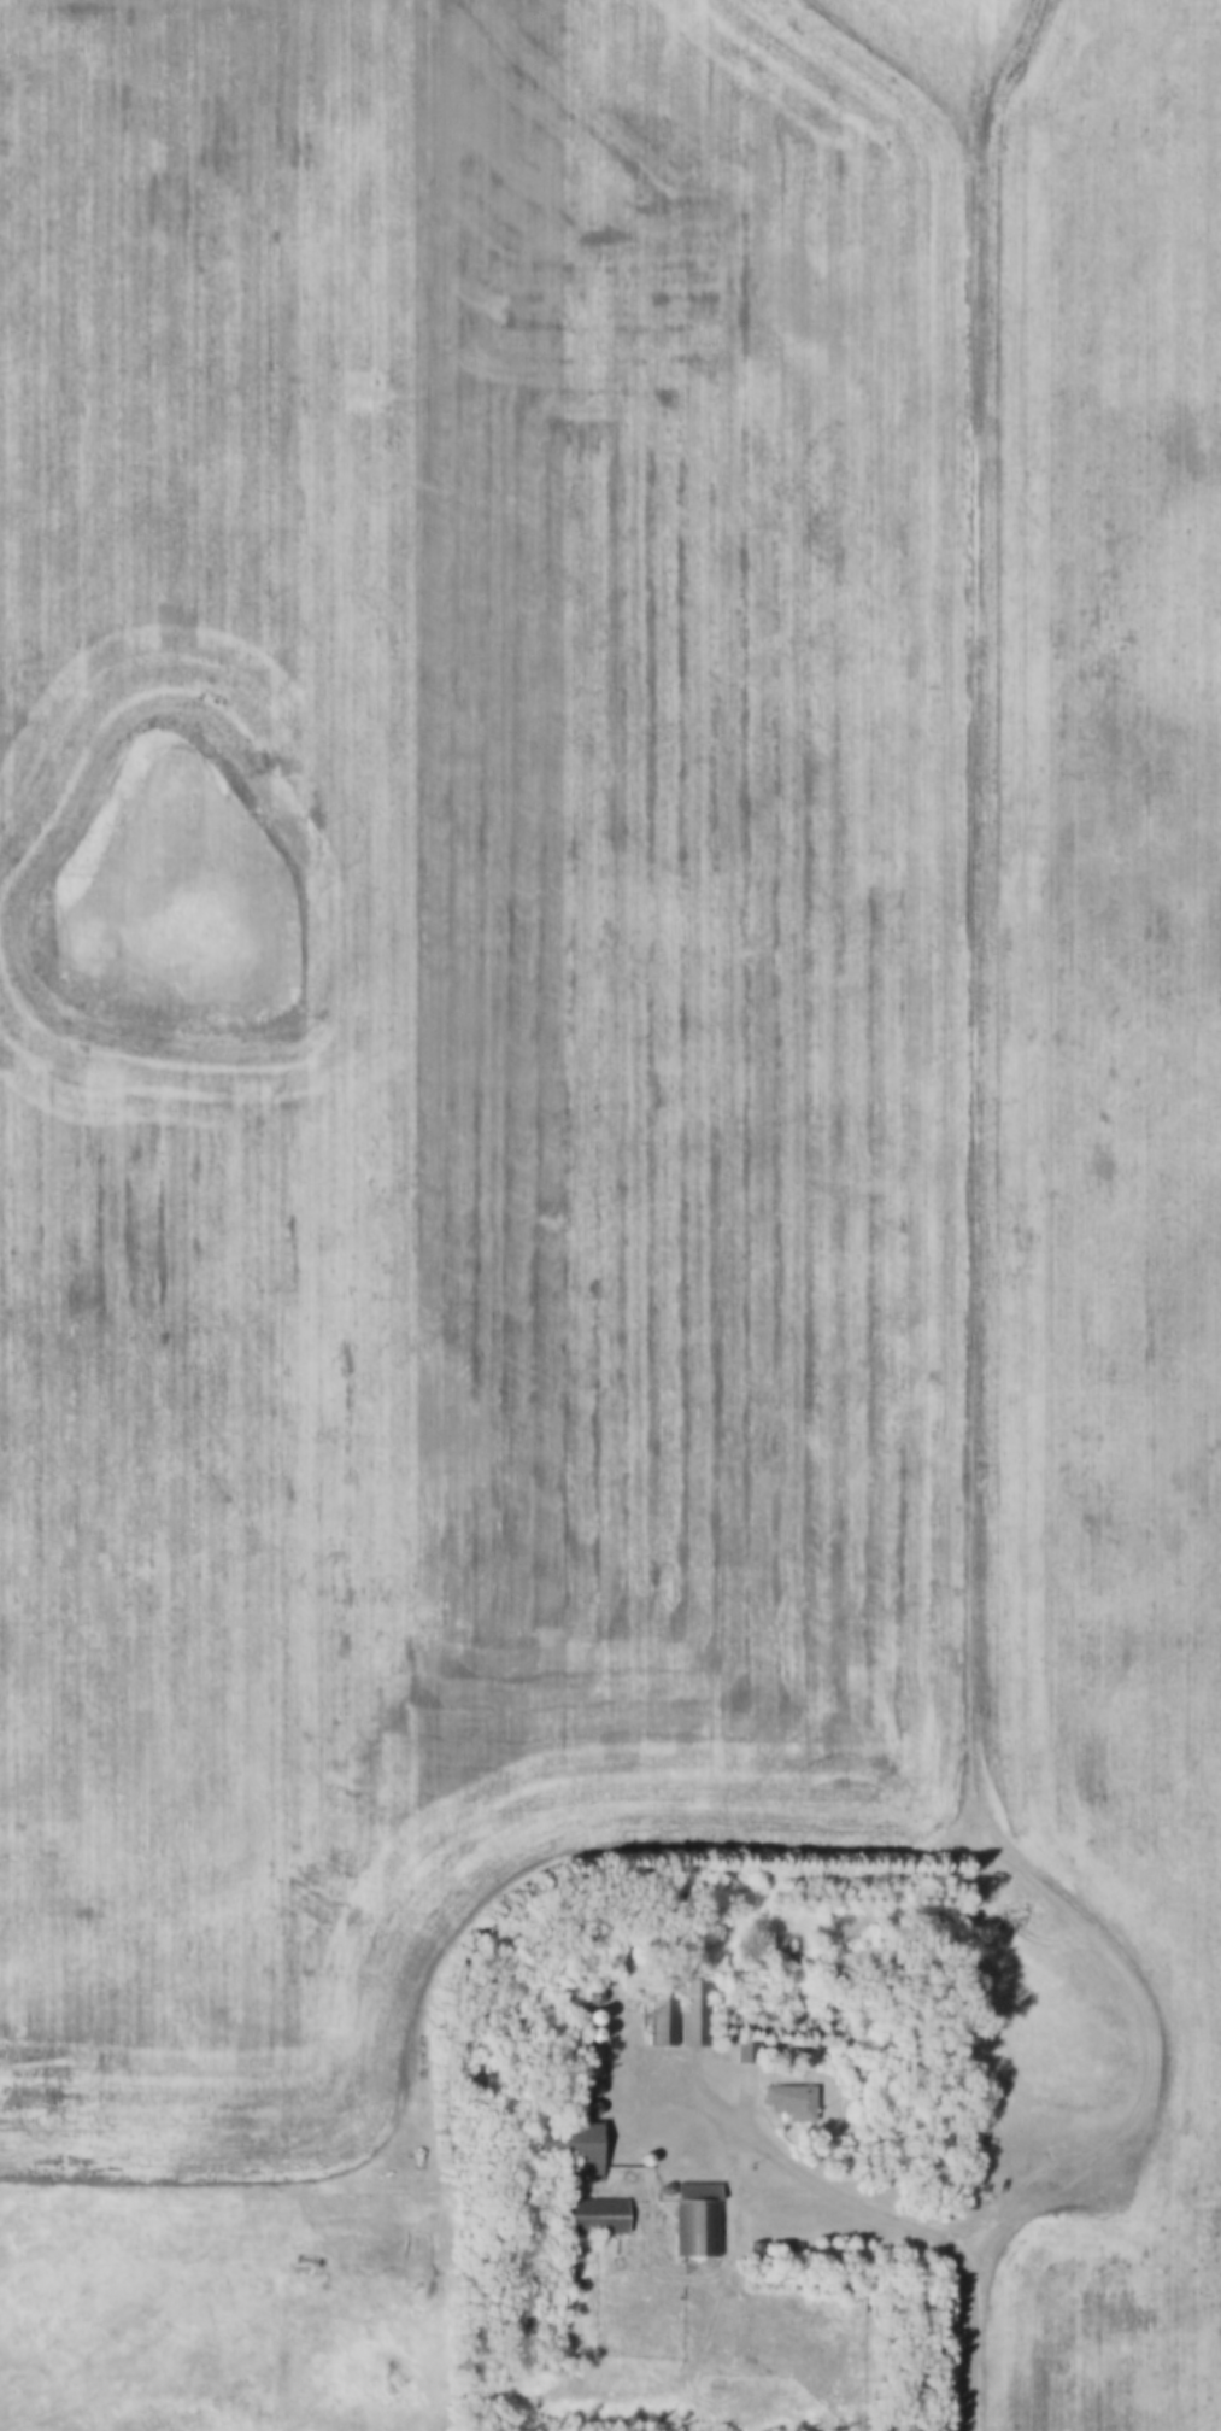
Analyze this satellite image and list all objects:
road: (985, 1137)
road: (433, 1967)
building: (698, 2016)
building: (667, 2035)
building: (793, 2104)
building: (568, 2150)
road: (892, 2214)
building: (597, 2220)
building: (700, 2222)

